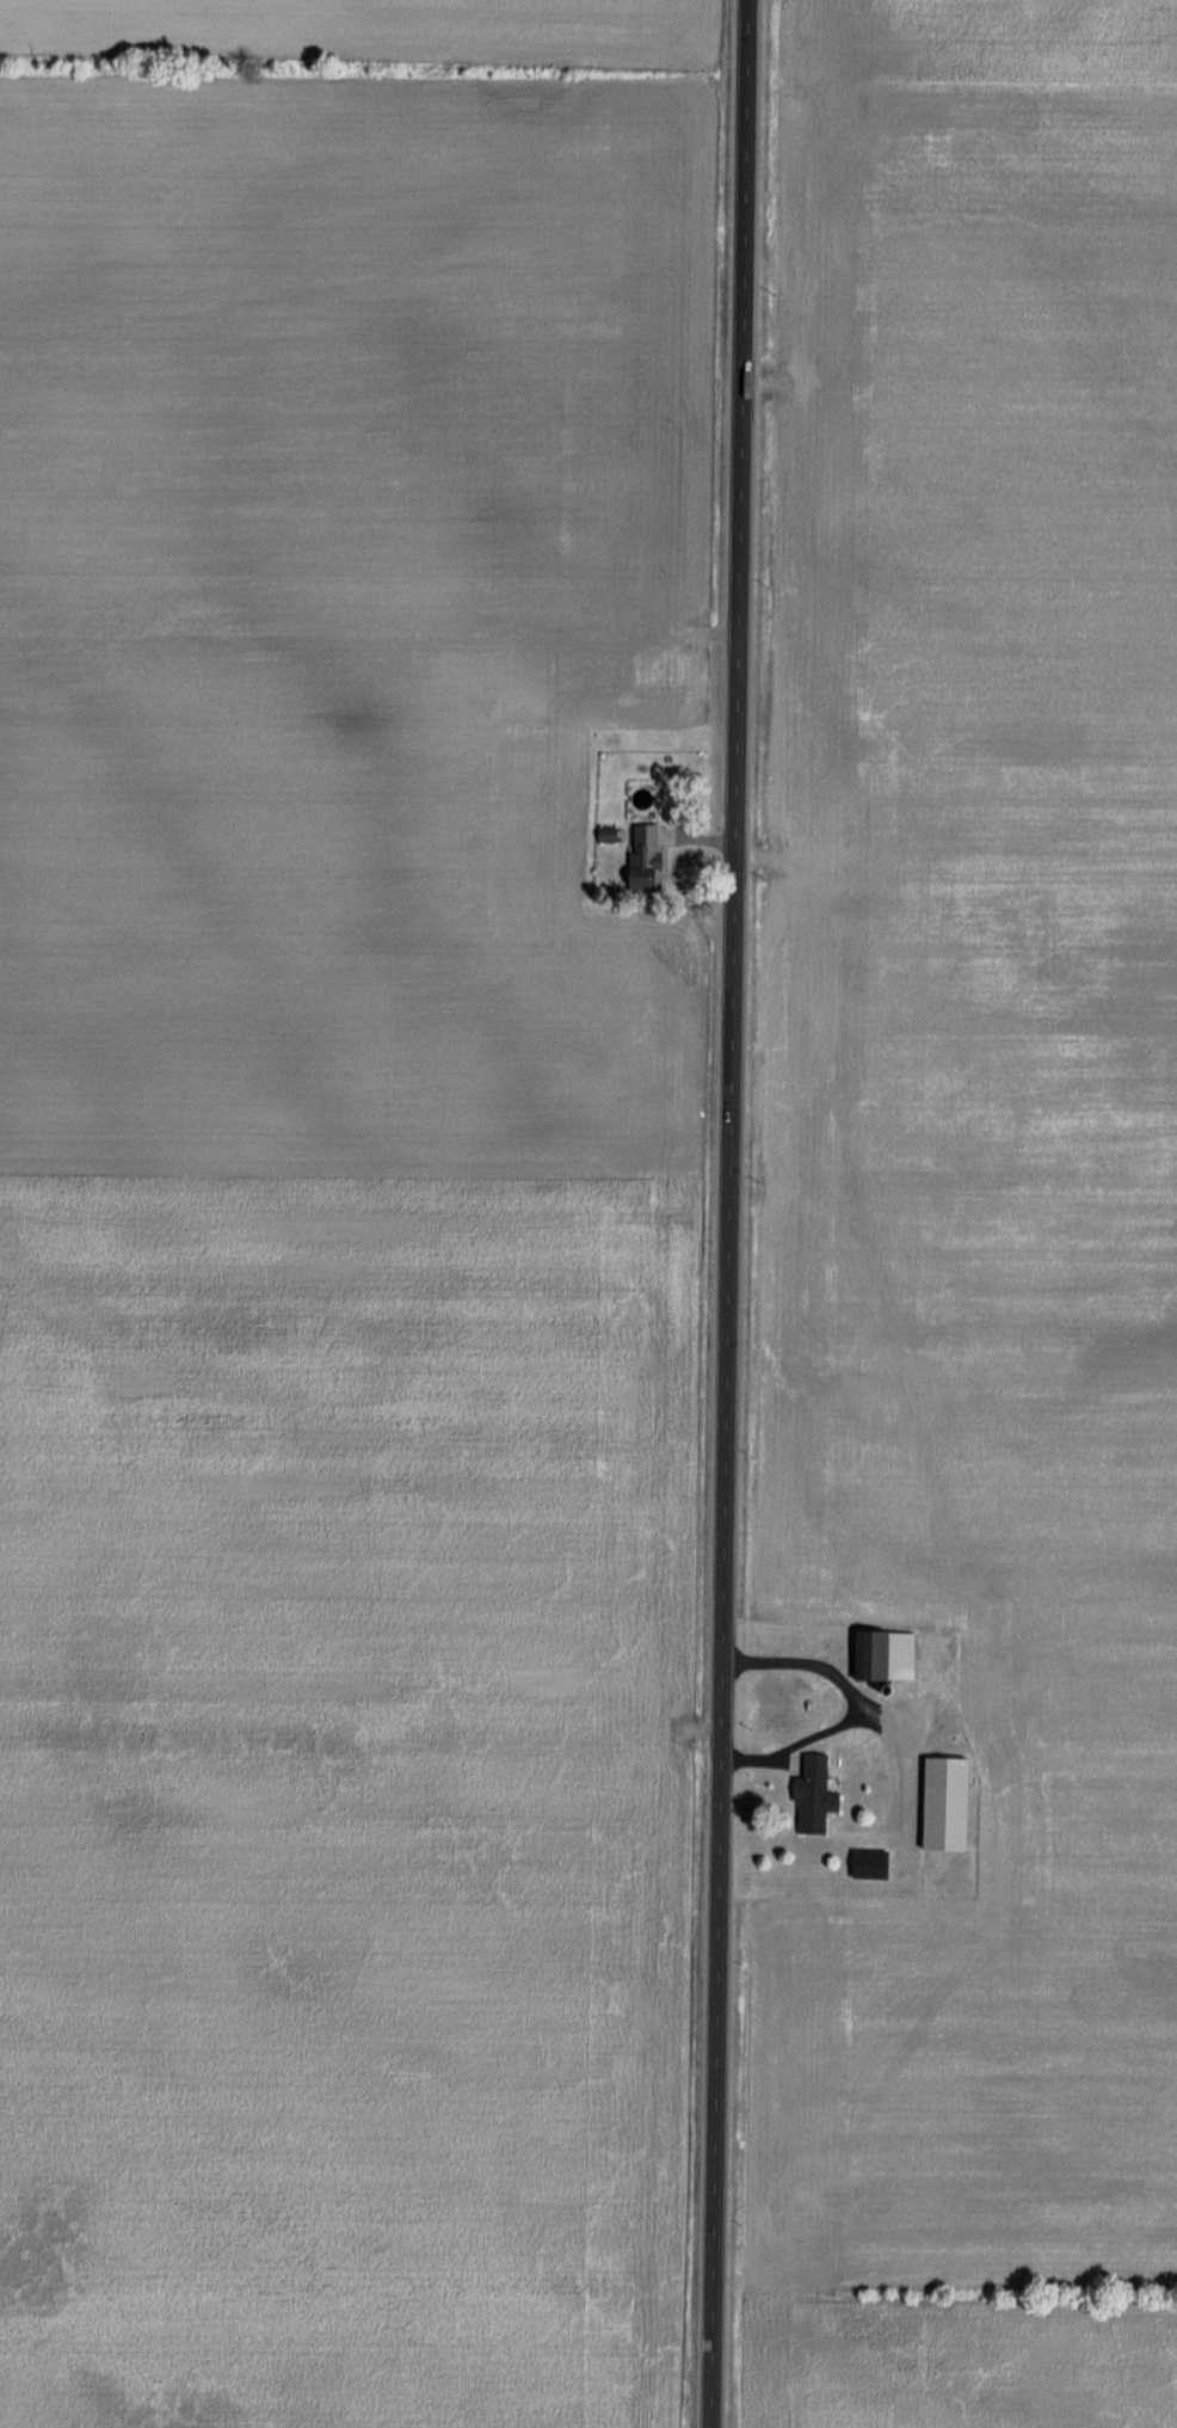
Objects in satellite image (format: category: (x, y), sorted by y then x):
building: (651, 855)
road: (727, 1213)
building: (879, 1656)
building: (807, 1795)
building: (938, 1803)
building: (862, 1864)

